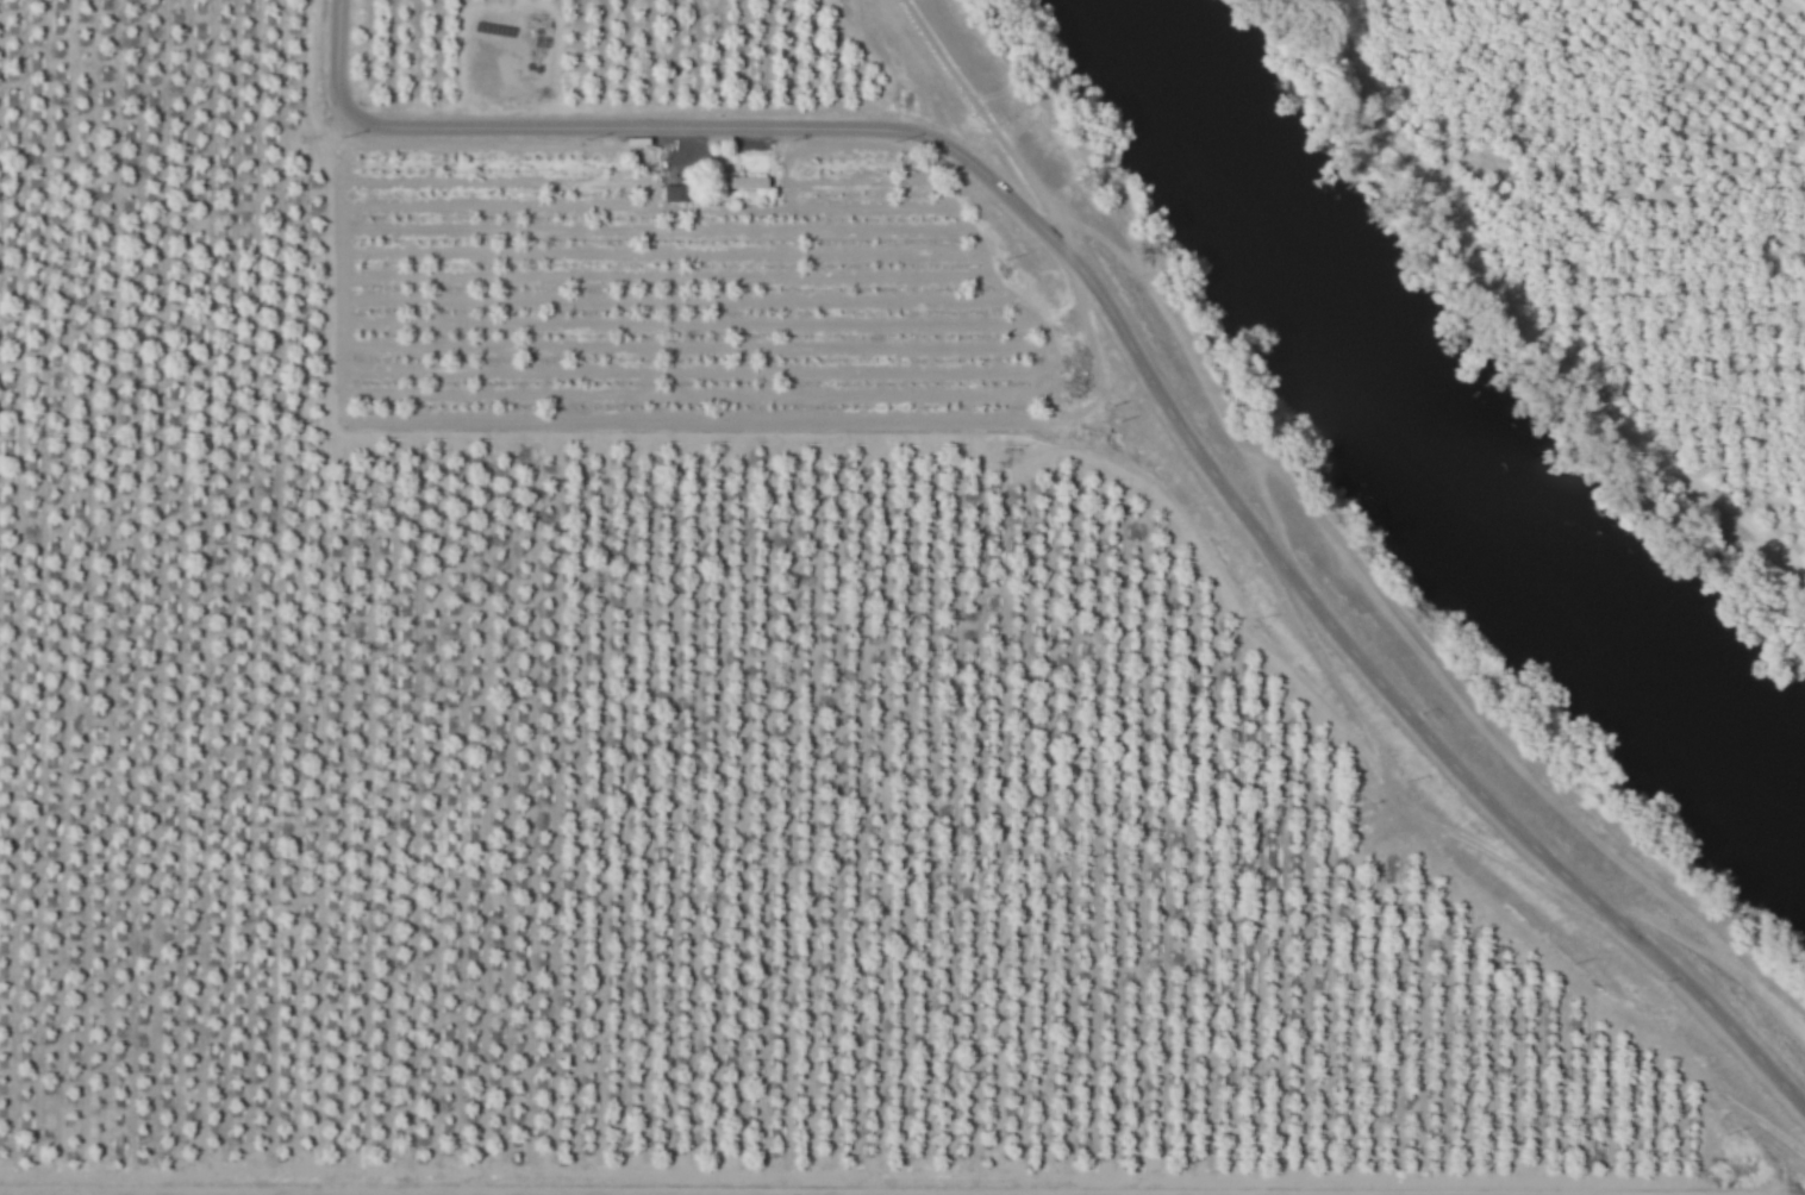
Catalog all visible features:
road: (989, 123)
building: (743, 182)
building: (676, 193)
road: (1138, 356)
road: (1718, 1109)
road: (591, 1187)

